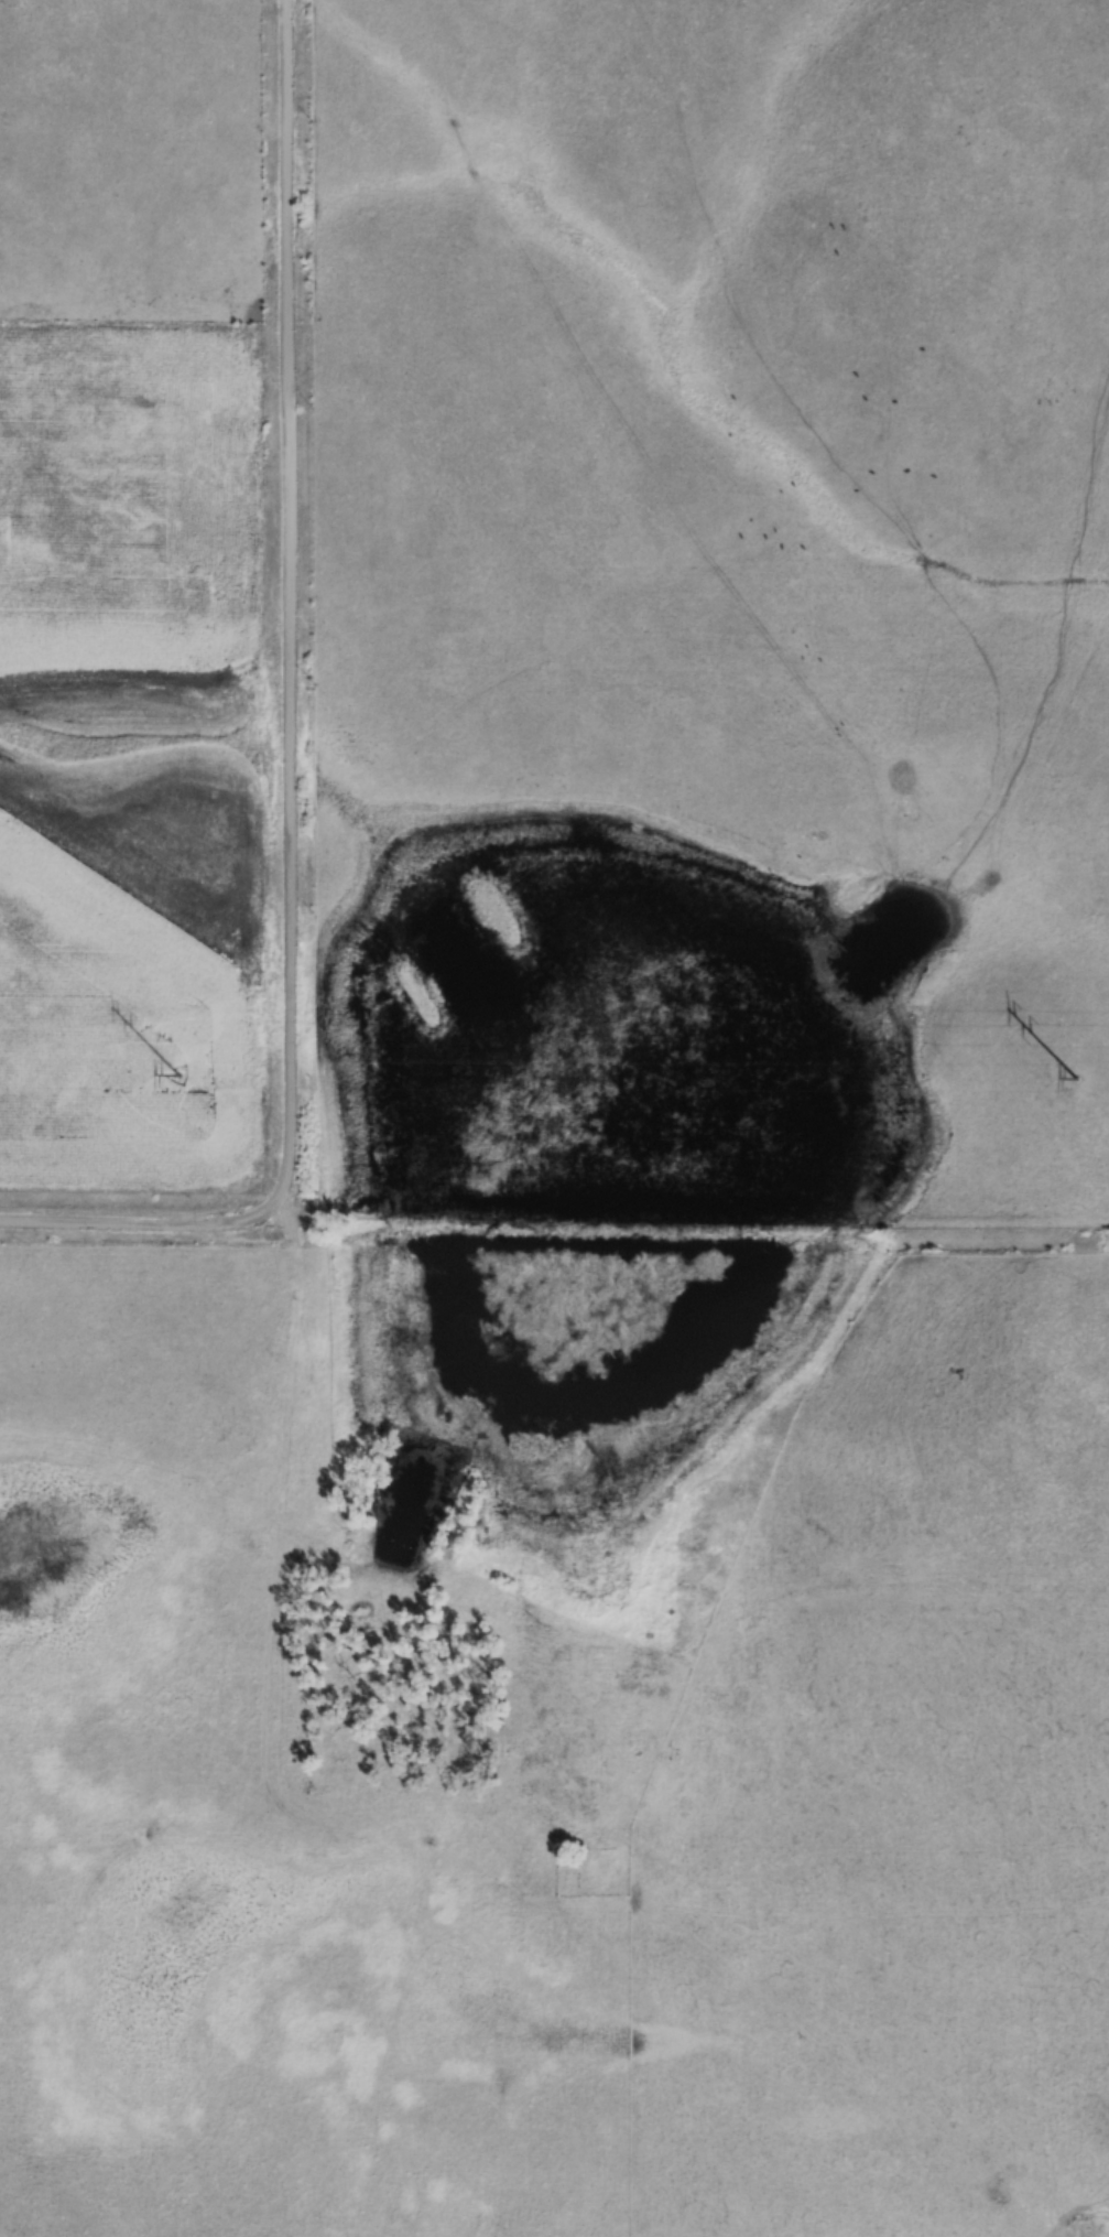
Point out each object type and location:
road: (290, 742)
power tower: (1075, 1070)
power tower: (185, 1072)
road: (1009, 1246)

